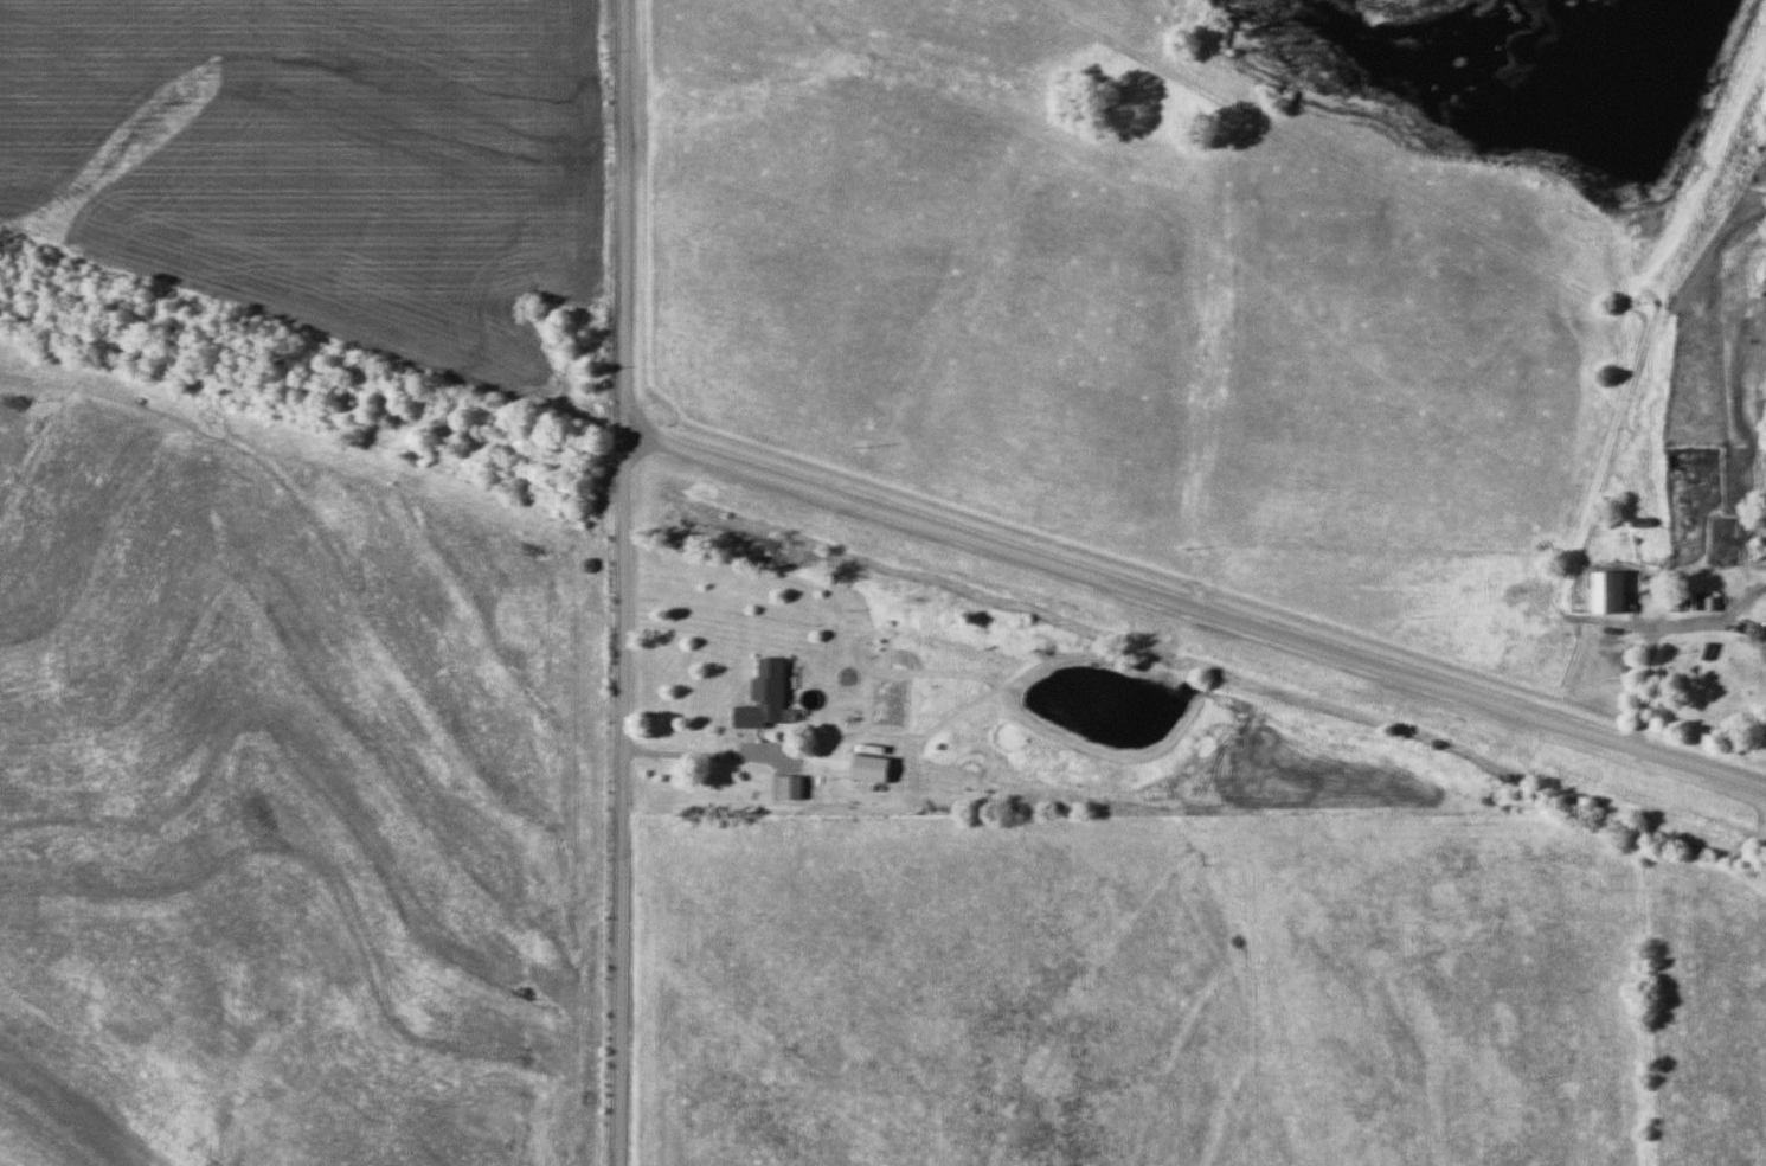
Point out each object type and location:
road: (619, 583)
building: (1606, 594)
road: (1192, 613)
road: (1644, 648)
building: (1761, 649)
building: (1702, 677)
building: (769, 694)
road: (696, 754)

